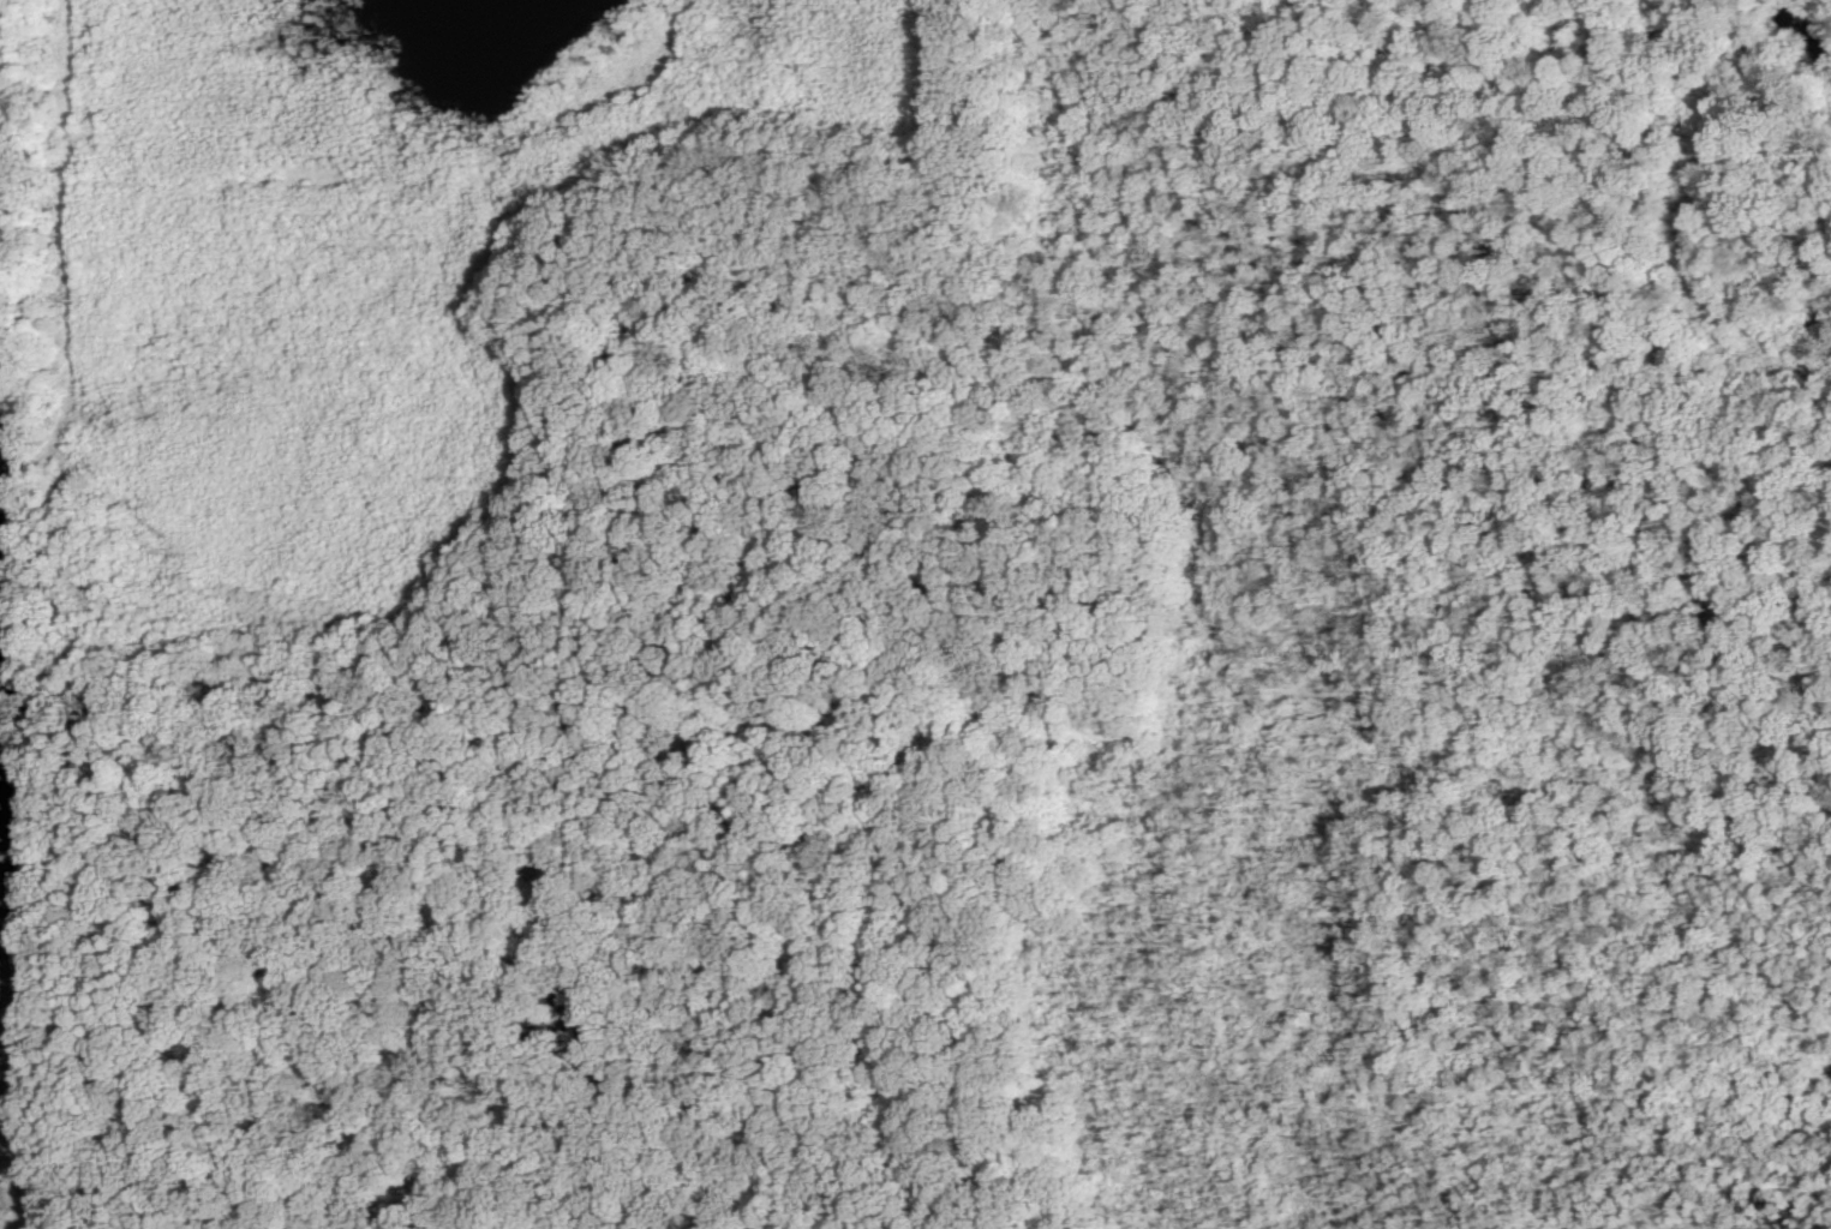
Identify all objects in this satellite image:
park: (915, 614)

